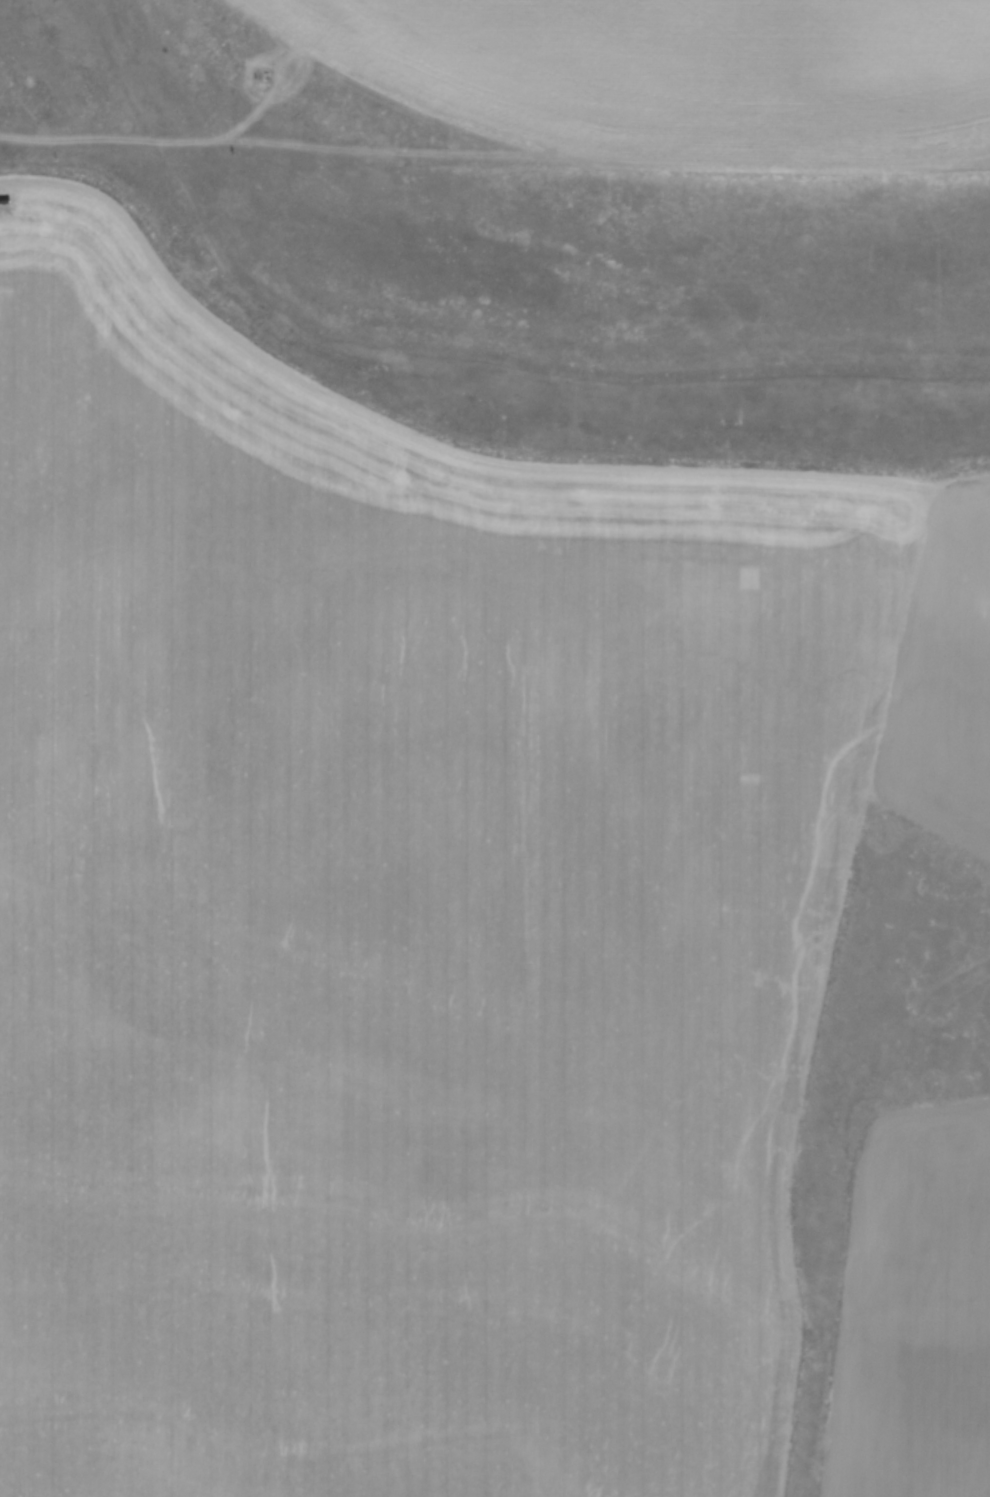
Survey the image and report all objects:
crop: (689, 68)
crop: (416, 917)
crop: (911, 1311)

